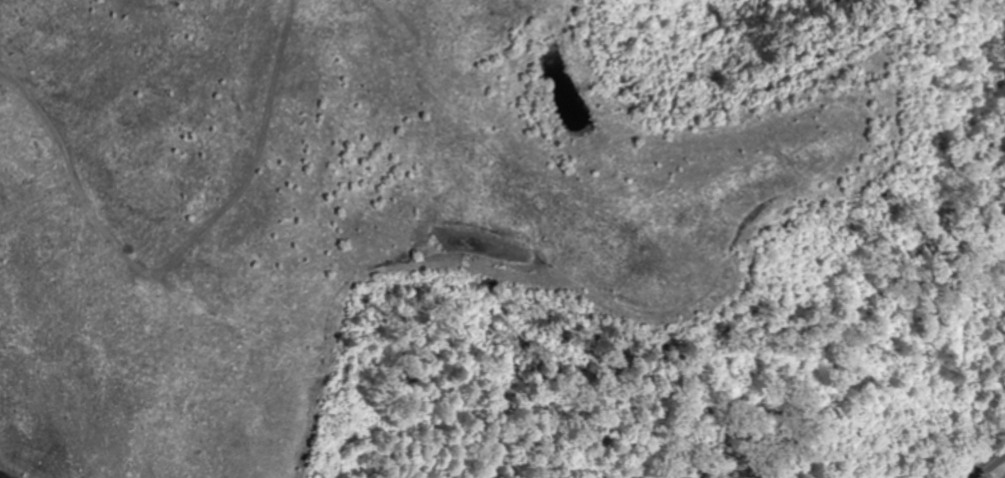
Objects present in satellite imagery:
road: (987, 463)

